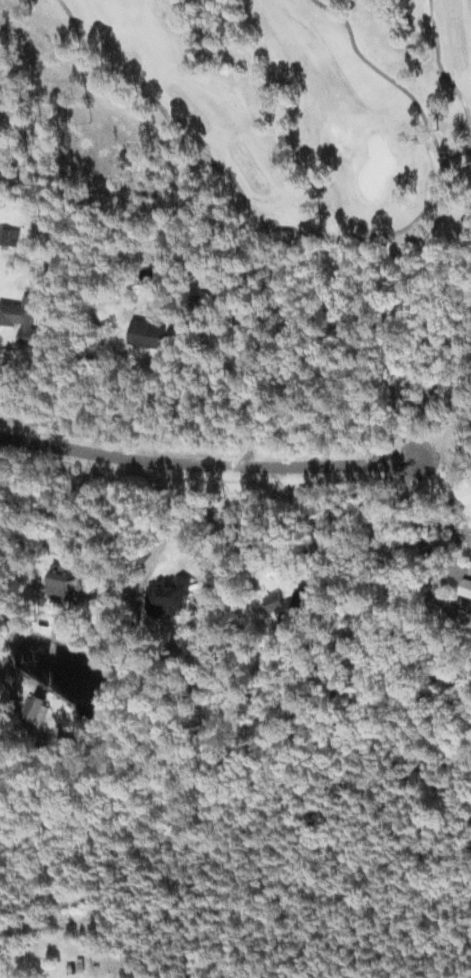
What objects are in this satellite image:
park: (260, 110)
building: (10, 236)
building: (21, 318)
building: (147, 333)
road: (206, 462)
building: (61, 579)
building: (466, 587)
building: (167, 598)
building: (288, 605)
building: (37, 712)

